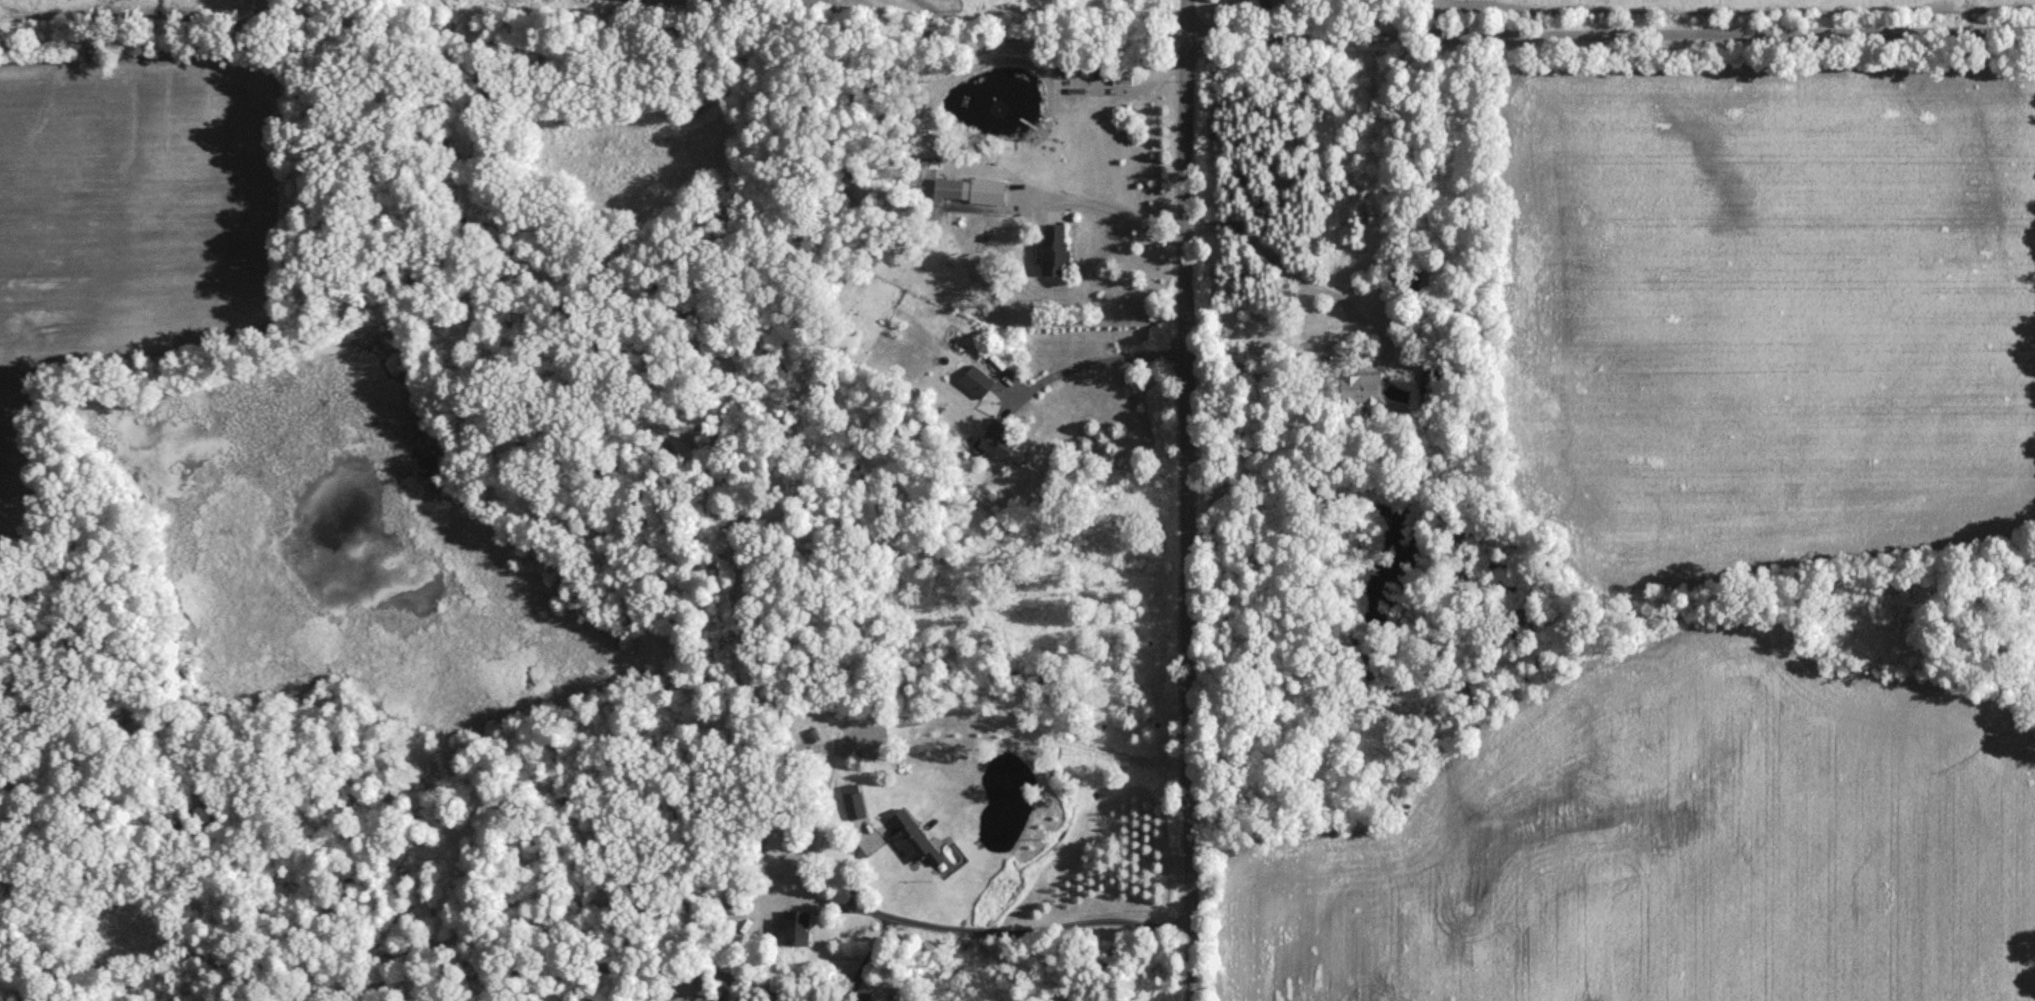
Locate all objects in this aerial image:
road: (1611, 35)
road: (811, 46)
building: (981, 193)
road: (1108, 204)
building: (1052, 252)
road: (1286, 267)
road: (1095, 363)
building: (975, 383)
building: (1359, 390)
building: (993, 440)
road: (1188, 500)
building: (851, 802)
building: (910, 839)
road: (1002, 926)
building: (790, 929)

